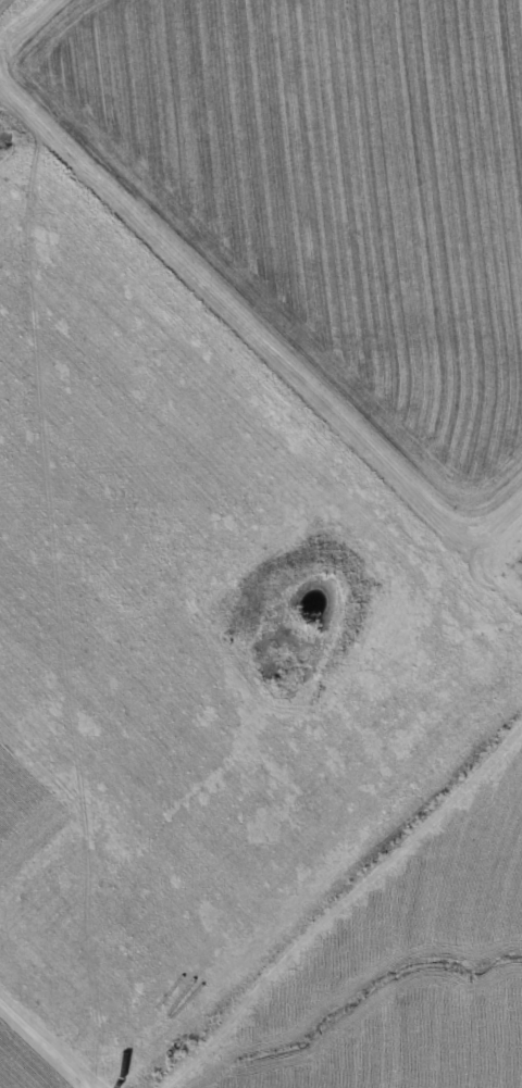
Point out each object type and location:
road: (43, 1043)

